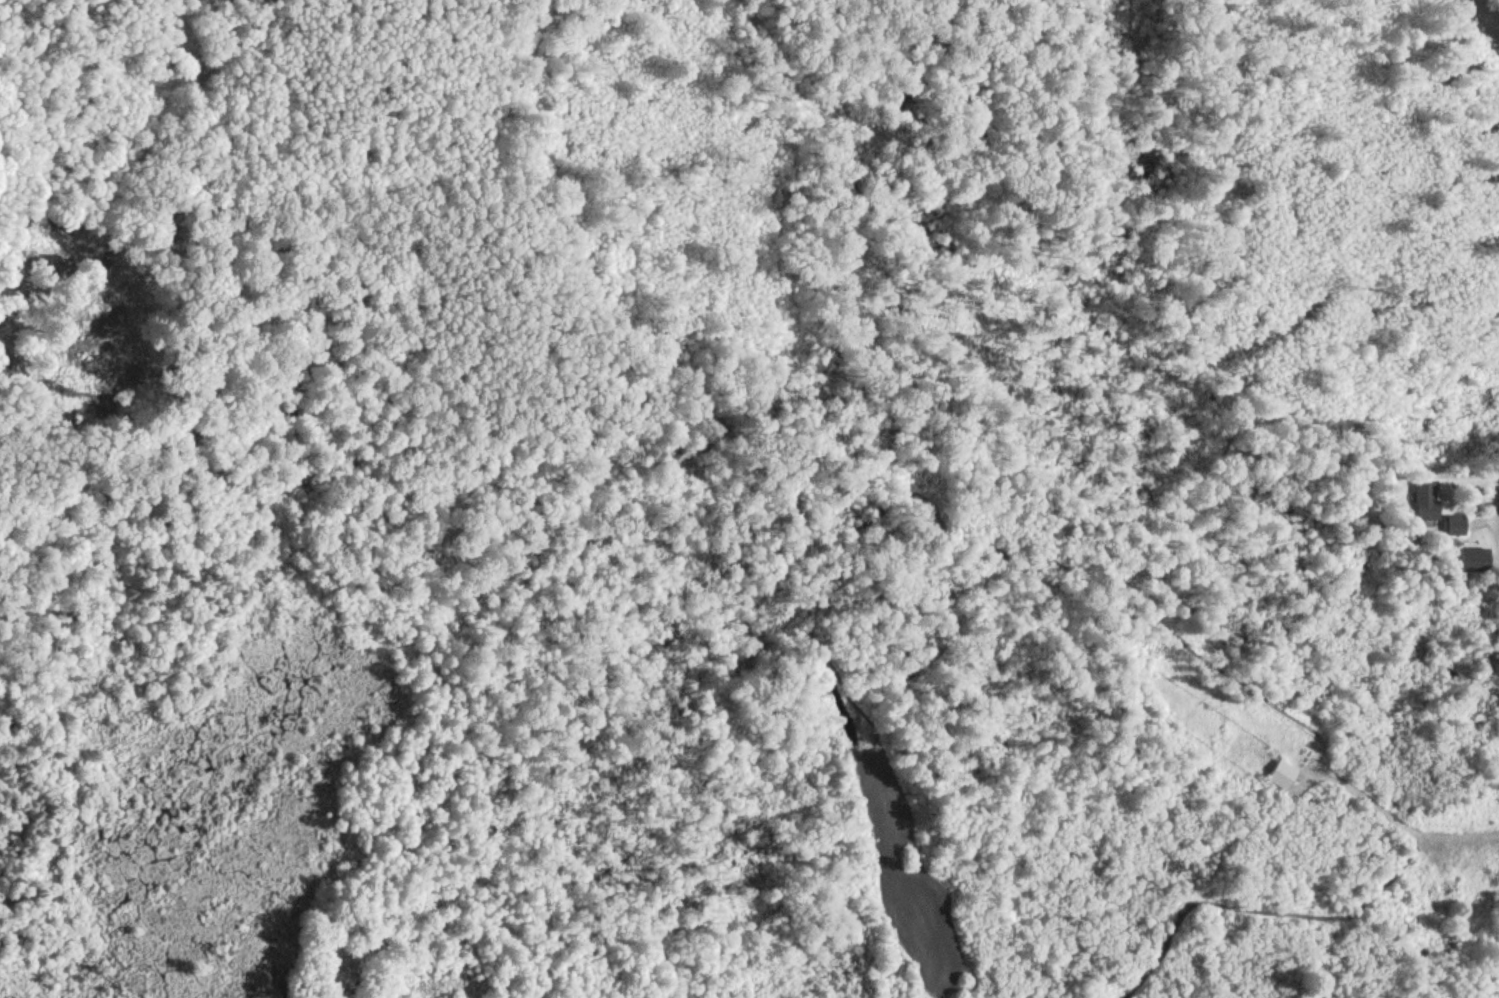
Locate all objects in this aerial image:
road: (1494, 5)
building: (1428, 501)
building: (1457, 524)
building: (1476, 560)
building: (1283, 774)

